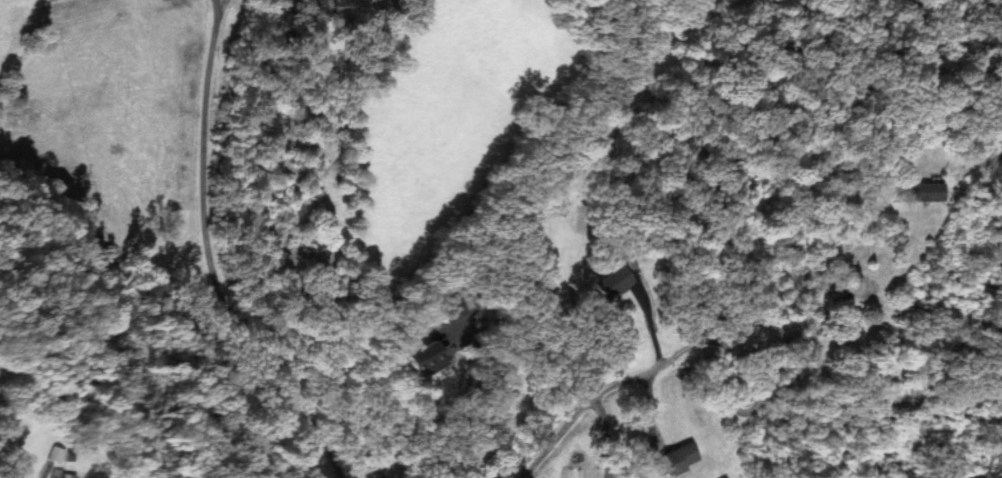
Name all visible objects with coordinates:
road: (222, 13)
building: (926, 191)
road: (209, 256)
building: (614, 281)
road: (650, 322)
building: (421, 355)
road: (591, 399)
road: (761, 399)
road: (495, 405)
road: (649, 406)
road: (605, 437)
building: (56, 453)
building: (676, 459)
building: (68, 475)

